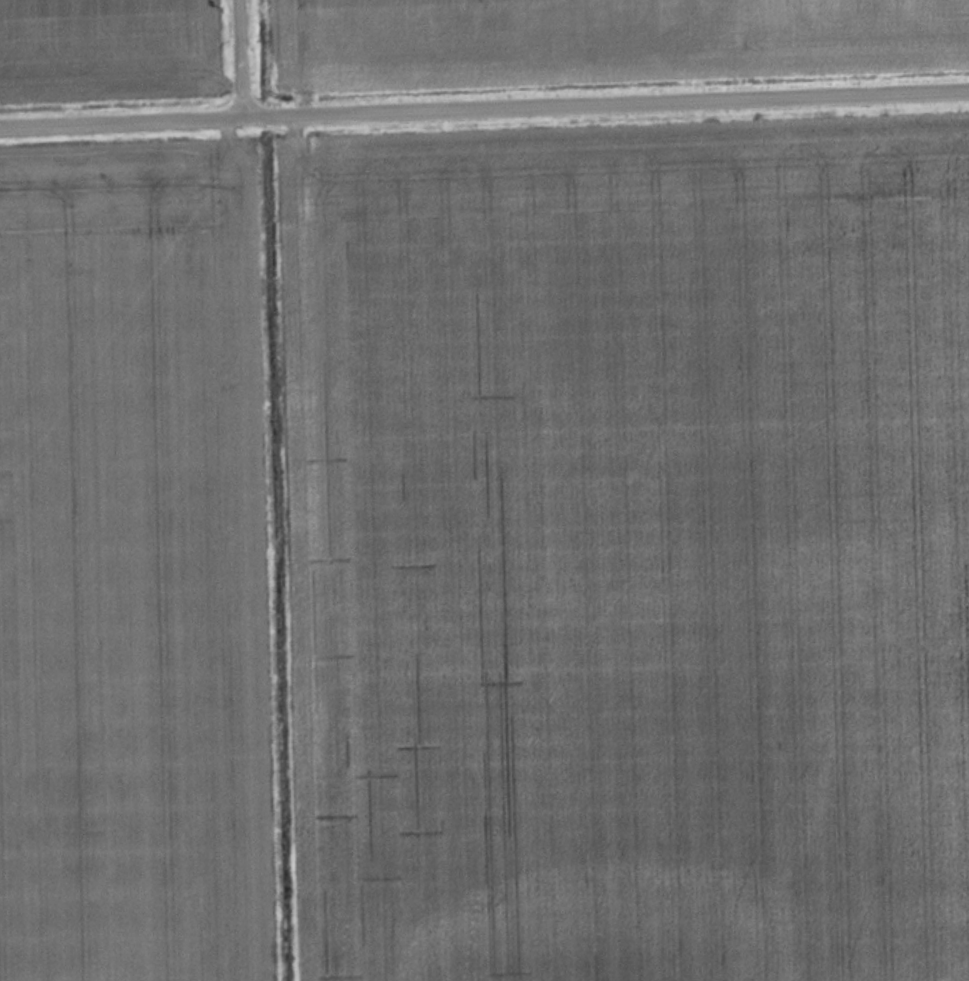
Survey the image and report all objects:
road: (259, 58)
road: (614, 102)
road: (130, 120)

